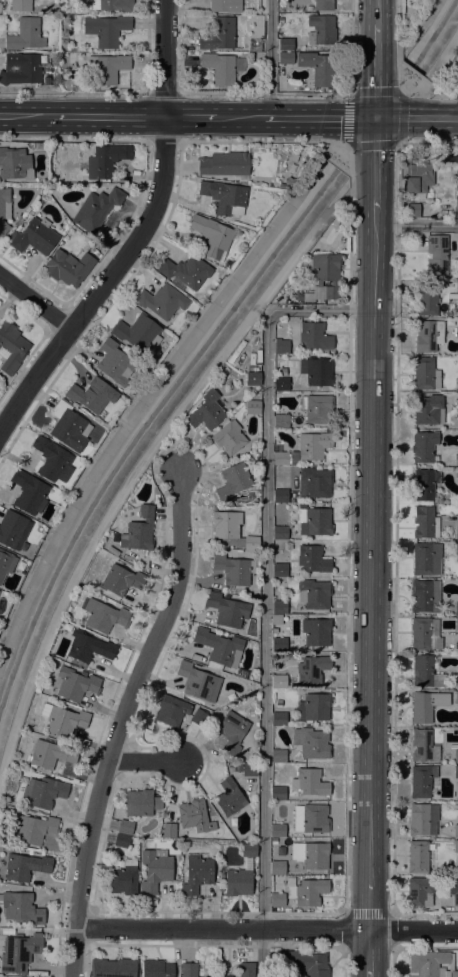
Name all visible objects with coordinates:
building: (20, 5)
building: (113, 5)
building: (225, 5)
building: (323, 5)
road: (376, 12)
building: (280, 20)
building: (106, 29)
building: (321, 30)
road: (399, 31)
building: (218, 34)
building: (25, 35)
building: (254, 44)
building: (285, 44)
building: (72, 55)
road: (376, 56)
road: (442, 57)
building: (285, 58)
road: (269, 59)
building: (318, 67)
building: (108, 68)
building: (219, 68)
building: (20, 69)
building: (403, 70)
road: (403, 70)
building: (407, 73)
road: (407, 73)
building: (411, 76)
road: (411, 76)
building: (416, 79)
road: (416, 79)
road: (413, 81)
road: (400, 88)
road: (376, 90)
road: (422, 91)
road: (73, 92)
road: (374, 92)
road: (389, 92)
road: (163, 93)
road: (349, 94)
road: (312, 95)
road: (441, 96)
road: (375, 105)
road: (401, 106)
road: (420, 109)
road: (25, 116)
road: (107, 117)
road: (189, 118)
road: (239, 118)
road: (305, 118)
road: (362, 118)
traffic signals: (375, 118)
road: (389, 118)
road: (431, 118)
road: (375, 126)
road: (348, 132)
road: (73, 139)
road: (163, 140)
road: (254, 142)
road: (375, 142)
road: (400, 142)
road: (428, 142)
road: (337, 143)
road: (378, 145)
road: (361, 146)
road: (326, 155)
road: (331, 158)
road: (336, 158)
building: (105, 160)
road: (335, 161)
road: (350, 161)
building: (15, 164)
road: (339, 164)
building: (224, 165)
road: (343, 168)
building: (418, 178)
road: (375, 181)
road: (358, 192)
building: (225, 197)
building: (96, 209)
building: (4, 210)
building: (412, 210)
road: (416, 226)
road: (138, 235)
building: (34, 236)
building: (212, 237)
building: (457, 248)
building: (437, 254)
building: (68, 267)
building: (185, 271)
building: (323, 276)
road: (35, 301)
building: (161, 301)
building: (427, 302)
building: (457, 309)
building: (457, 332)
building: (137, 333)
building: (428, 335)
building: (314, 336)
building: (281, 346)
building: (11, 347)
building: (114, 362)
building: (316, 371)
building: (282, 372)
building: (425, 374)
building: (252, 375)
building: (281, 384)
building: (457, 384)
building: (92, 394)
building: (457, 400)
building: (253, 408)
building: (317, 408)
building: (429, 410)
building: (206, 412)
building: (281, 421)
building: (69, 427)
building: (229, 438)
building: (424, 446)
building: (304, 450)
building: (457, 459)
building: (53, 461)
road: (137, 470)
building: (457, 474)
building: (233, 481)
building: (316, 482)
building: (426, 484)
building: (29, 492)
building: (281, 495)
building: (314, 521)
building: (426, 523)
building: (457, 528)
building: (13, 529)
road: (394, 529)
building: (139, 530)
building: (231, 530)
building: (280, 532)
road: (347, 545)
road: (371, 546)
building: (457, 549)
building: (312, 559)
building: (427, 559)
building: (6, 563)
building: (234, 570)
building: (280, 570)
building: (121, 580)
road: (264, 592)
building: (314, 594)
building: (425, 596)
building: (280, 607)
building: (457, 608)
building: (227, 610)
building: (104, 616)
building: (277, 620)
building: (457, 623)
building: (316, 632)
building: (425, 634)
building: (279, 645)
building: (89, 647)
building: (219, 648)
building: (312, 669)
building: (427, 673)
building: (195, 680)
building: (279, 681)
building: (456, 682)
building: (74, 684)
building: (456, 698)
building: (279, 704)
building: (427, 705)
building: (314, 708)
building: (171, 711)
building: (199, 717)
building: (279, 719)
building: (63, 720)
road: (124, 721)
building: (232, 732)
building: (312, 743)
building: (423, 746)
building: (50, 754)
building: (278, 756)
building: (456, 756)
road: (146, 760)
building: (239, 768)
building: (231, 769)
building: (250, 770)
building: (456, 772)
building: (421, 781)
building: (309, 782)
building: (44, 792)
building: (278, 793)
building: (229, 798)
building: (141, 803)
building: (196, 816)
building: (311, 819)
building: (420, 820)
building: (125, 828)
building: (35, 829)
building: (278, 830)
building: (168, 831)
building: (456, 831)
building: (121, 841)
building: (456, 846)
building: (249, 850)
building: (311, 855)
building: (419, 856)
building: (26, 867)
building: (277, 867)
building: (155, 870)
building: (197, 874)
building: (124, 878)
building: (238, 882)
building: (454, 889)
building: (420, 891)
building: (307, 892)
building: (277, 900)
road: (369, 906)
building: (20, 907)
road: (222, 928)
road: (343, 929)
road: (392, 931)
road: (413, 931)
building: (19, 953)
road: (368, 954)
road: (343, 960)
road: (391, 962)
building: (305, 963)
building: (431, 964)
building: (113, 968)
building: (156, 968)
building: (246, 969)
building: (189, 970)
building: (226, 976)

